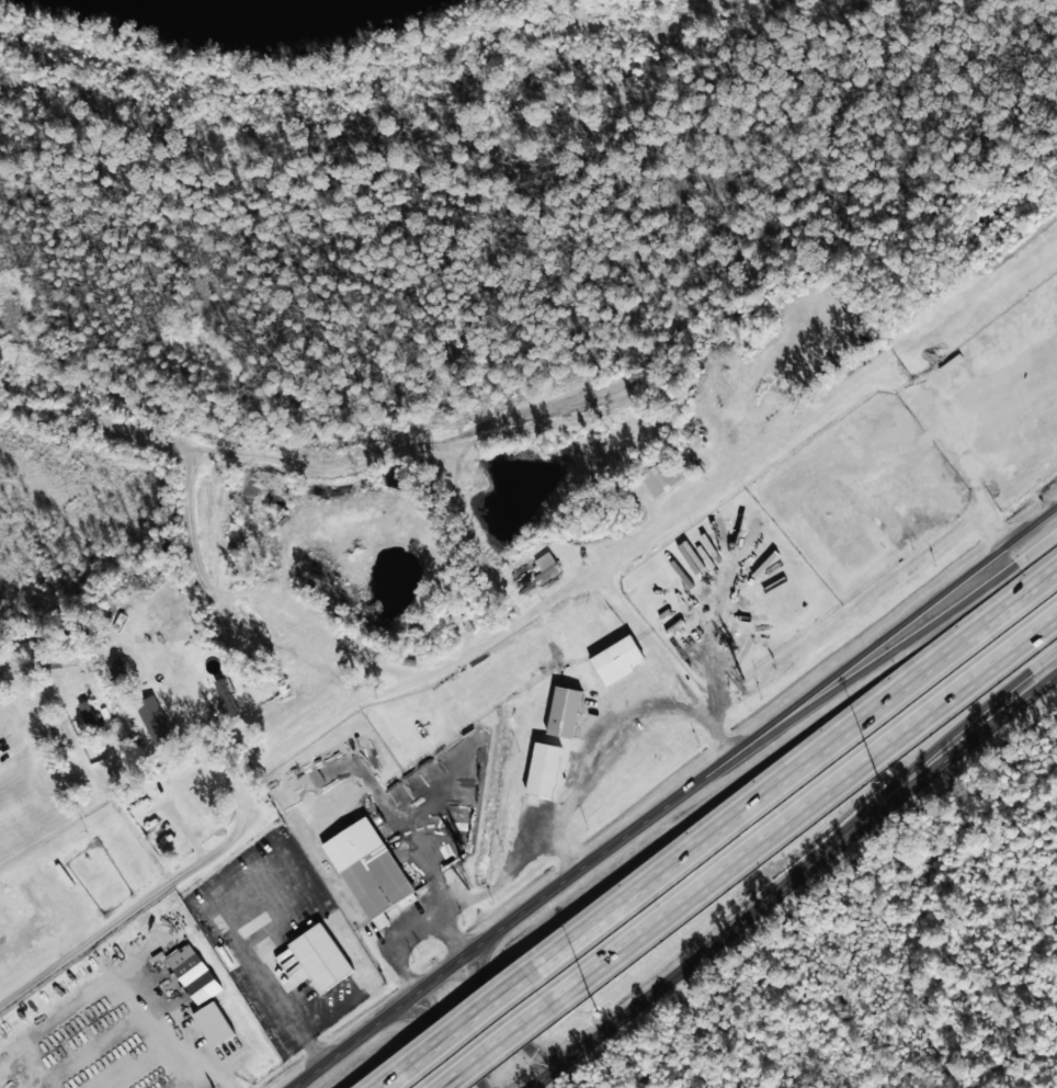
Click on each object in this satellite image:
building: (661, 478)
building: (894, 530)
building: (545, 566)
road: (895, 625)
road: (900, 644)
building: (616, 660)
building: (227, 695)
building: (564, 712)
building: (87, 713)
building: (155, 721)
road: (323, 722)
road: (600, 725)
road: (957, 726)
road: (213, 739)
road: (716, 766)
road: (720, 769)
building: (543, 770)
road: (784, 773)
road: (789, 800)
road: (128, 828)
building: (367, 868)
road: (791, 876)
road: (492, 932)
building: (320, 956)
building: (193, 973)
road: (500, 1018)
road: (464, 1020)
building: (214, 1023)
road: (441, 1031)
road: (487, 1039)
road: (396, 1072)
road: (436, 1078)

